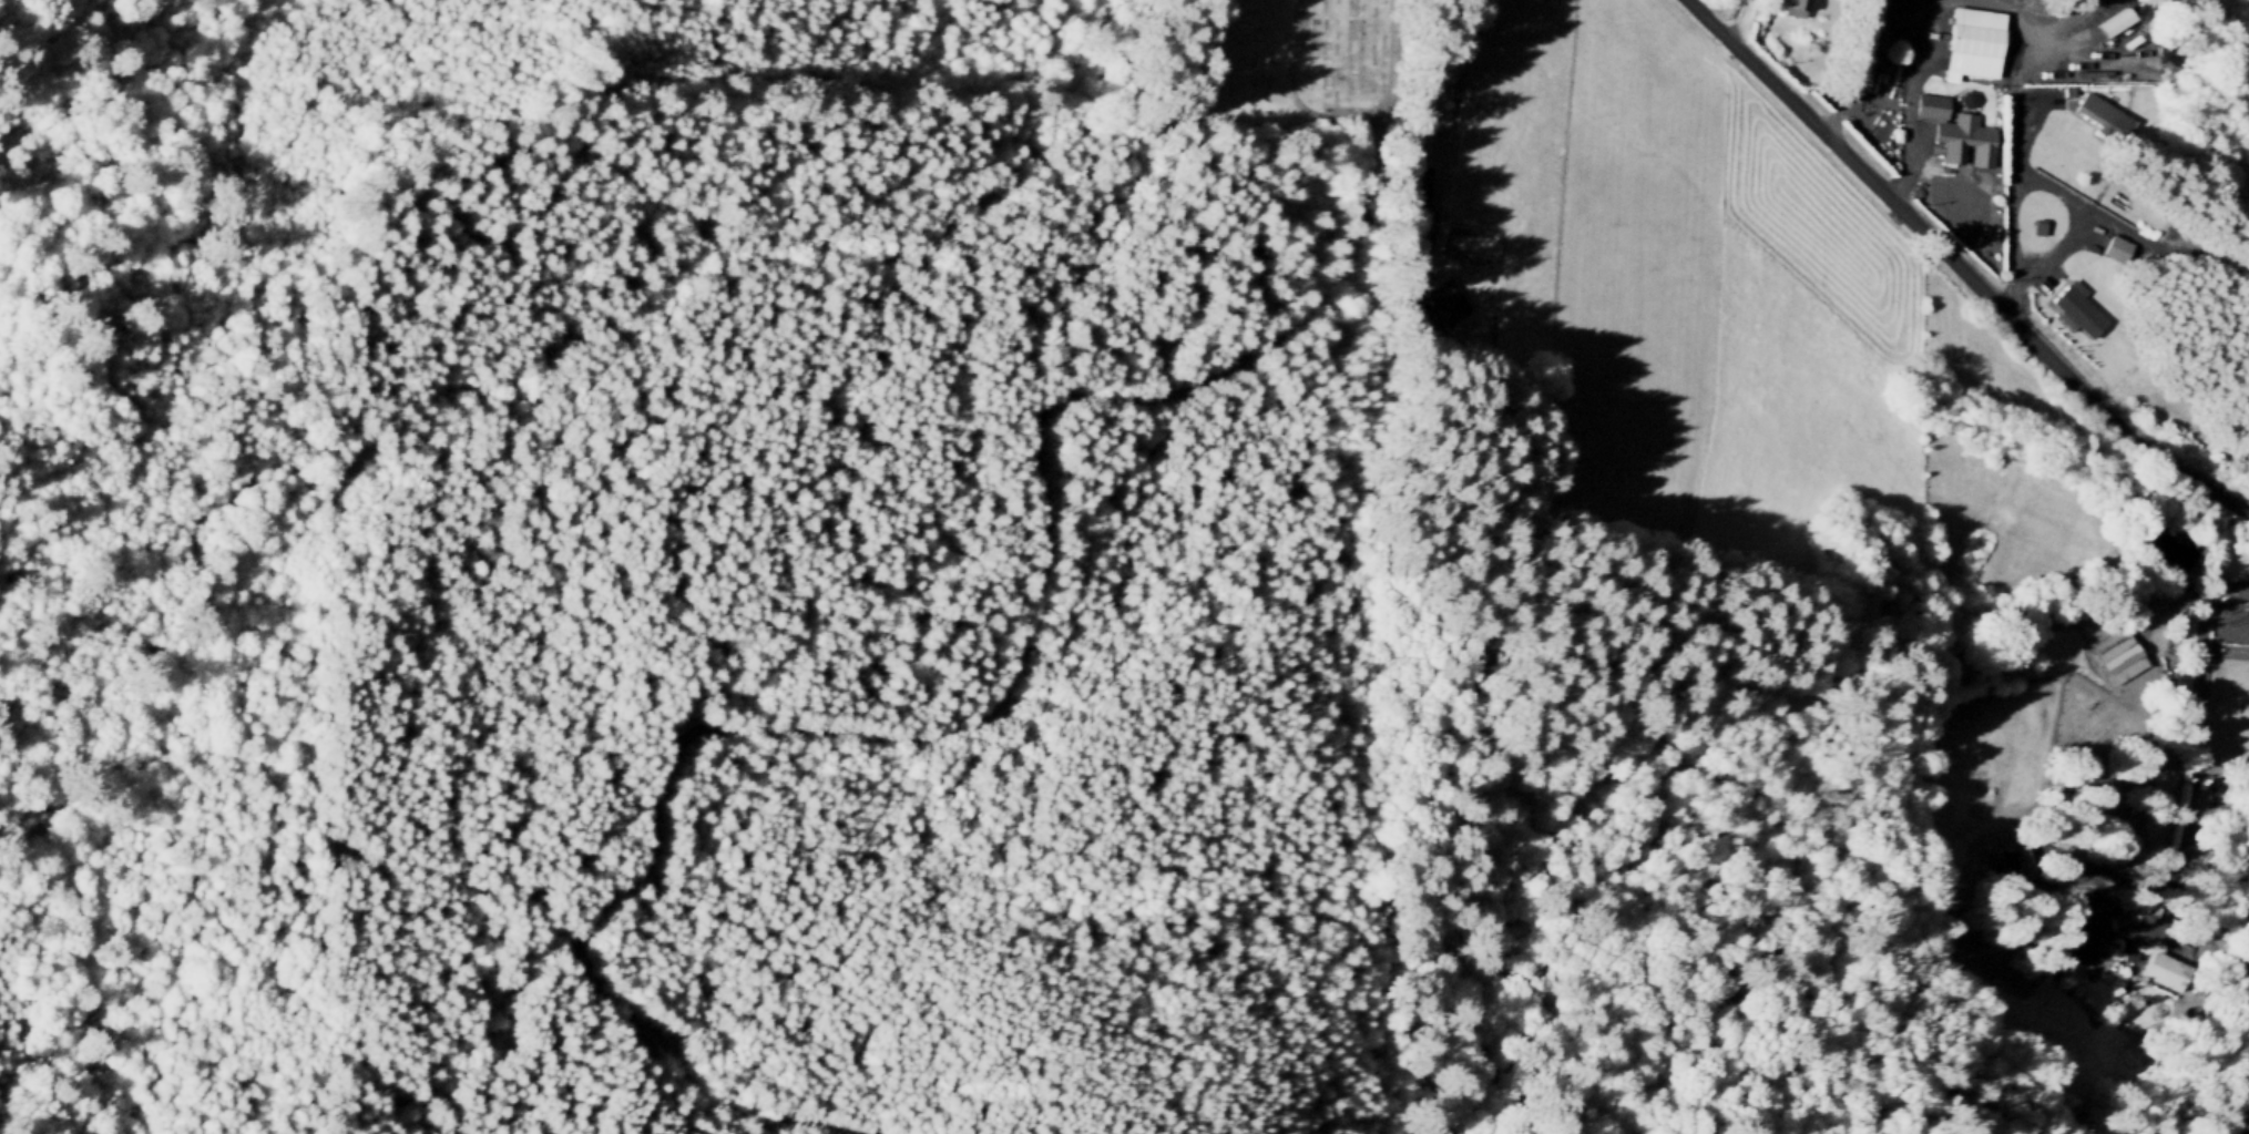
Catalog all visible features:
building: (1792, 7)
road: (1735, 19)
building: (2113, 21)
building: (1971, 39)
road: (1854, 48)
road: (2041, 60)
park: (1287, 62)
building: (1966, 92)
road: (2024, 94)
road: (1291, 98)
building: (1929, 103)
road: (1904, 105)
building: (2099, 109)
building: (1963, 136)
road: (1919, 147)
road: (2011, 153)
road: (1442, 155)
building: (1411, 183)
road: (2073, 221)
building: (2036, 223)
road: (2110, 223)
building: (2114, 246)
road: (2201, 262)
road: (1959, 266)
road: (213, 296)
building: (1439, 302)
building: (2075, 307)
road: (2122, 571)
road: (2171, 601)
building: (2119, 656)
road: (994, 705)
road: (2190, 797)
building: (2004, 865)
road: (2140, 924)
building: (2089, 933)
building: (2163, 967)

